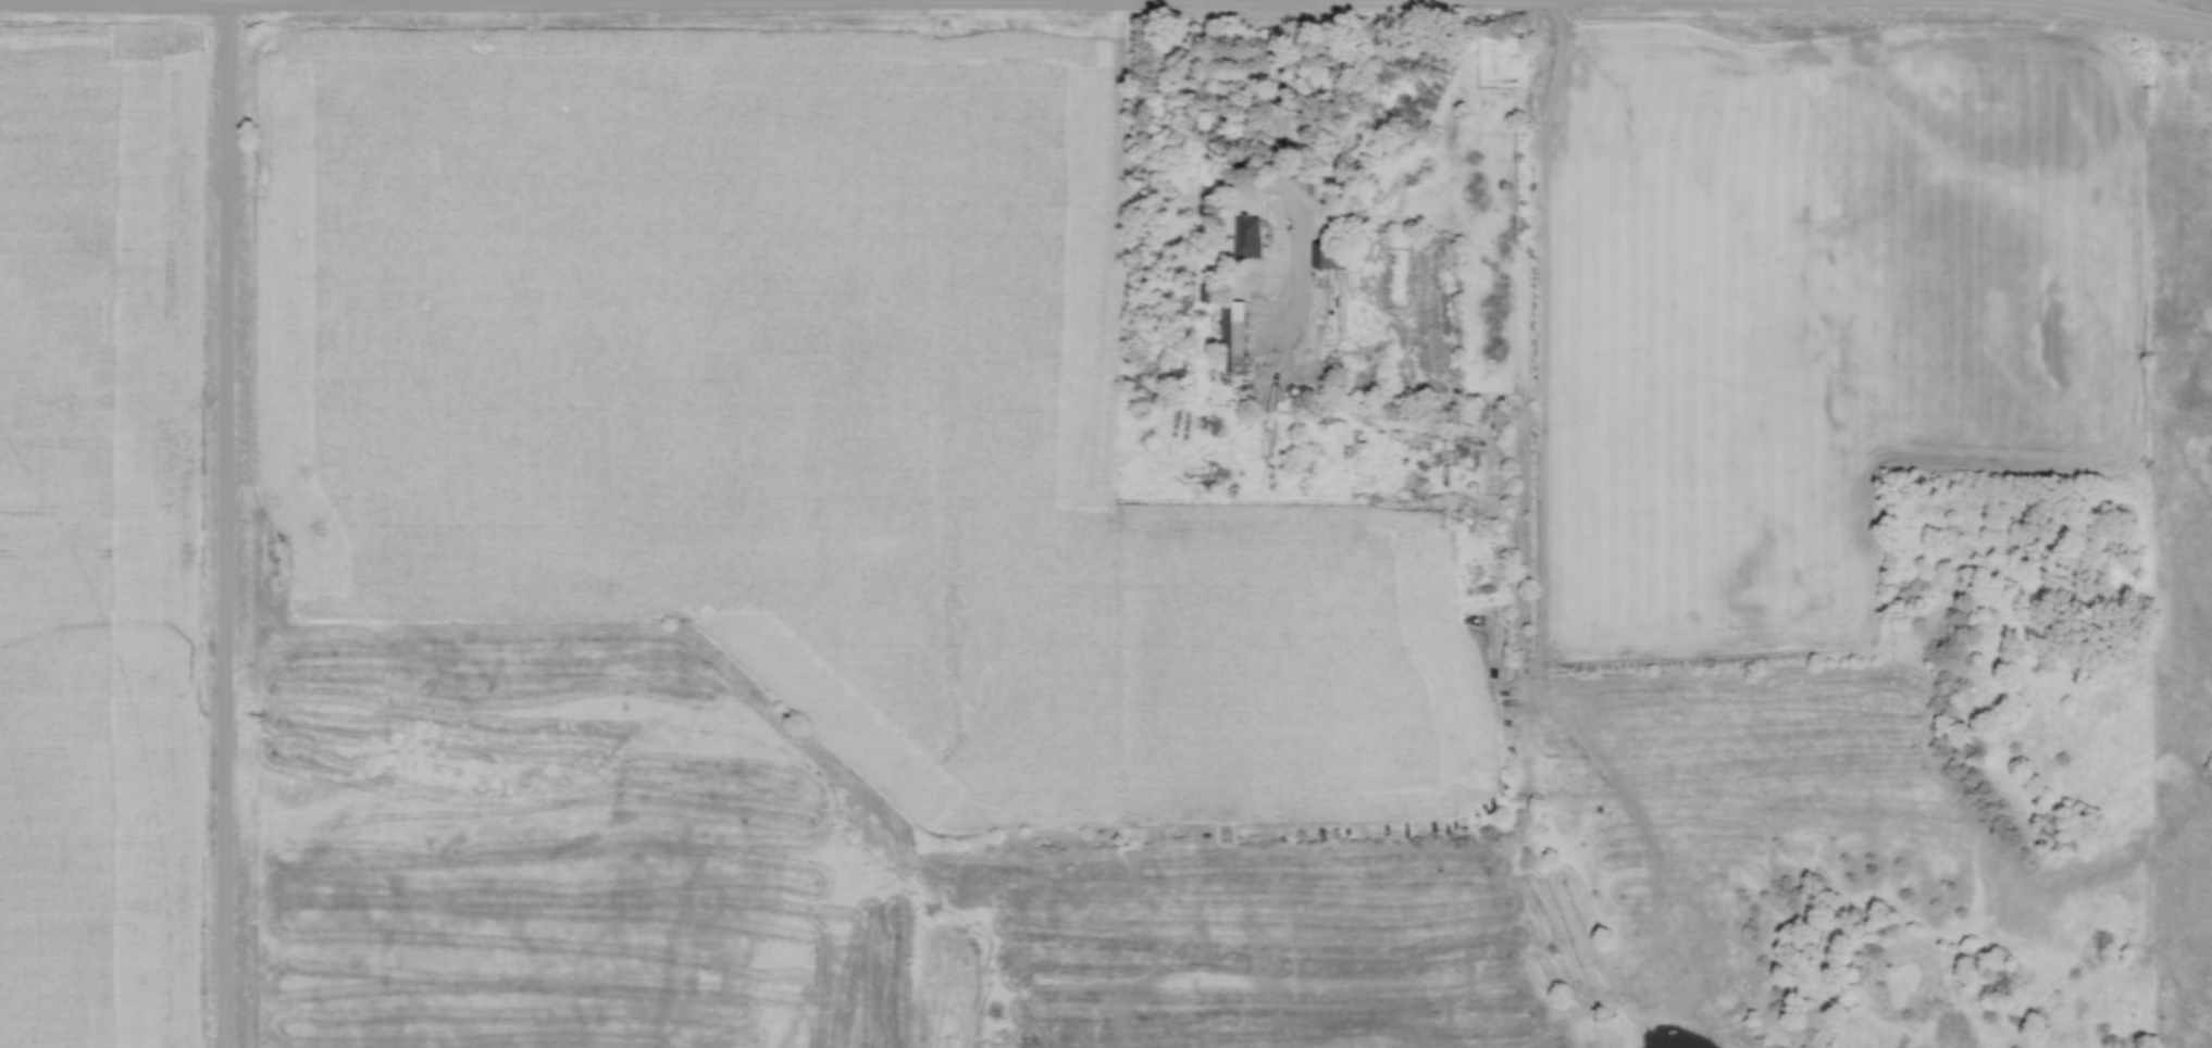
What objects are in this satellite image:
road: (2100, 1)
road: (2135, 10)
road: (1288, 114)
building: (1315, 186)
building: (1246, 229)
building: (1326, 257)
building: (1230, 338)
road: (229, 524)

